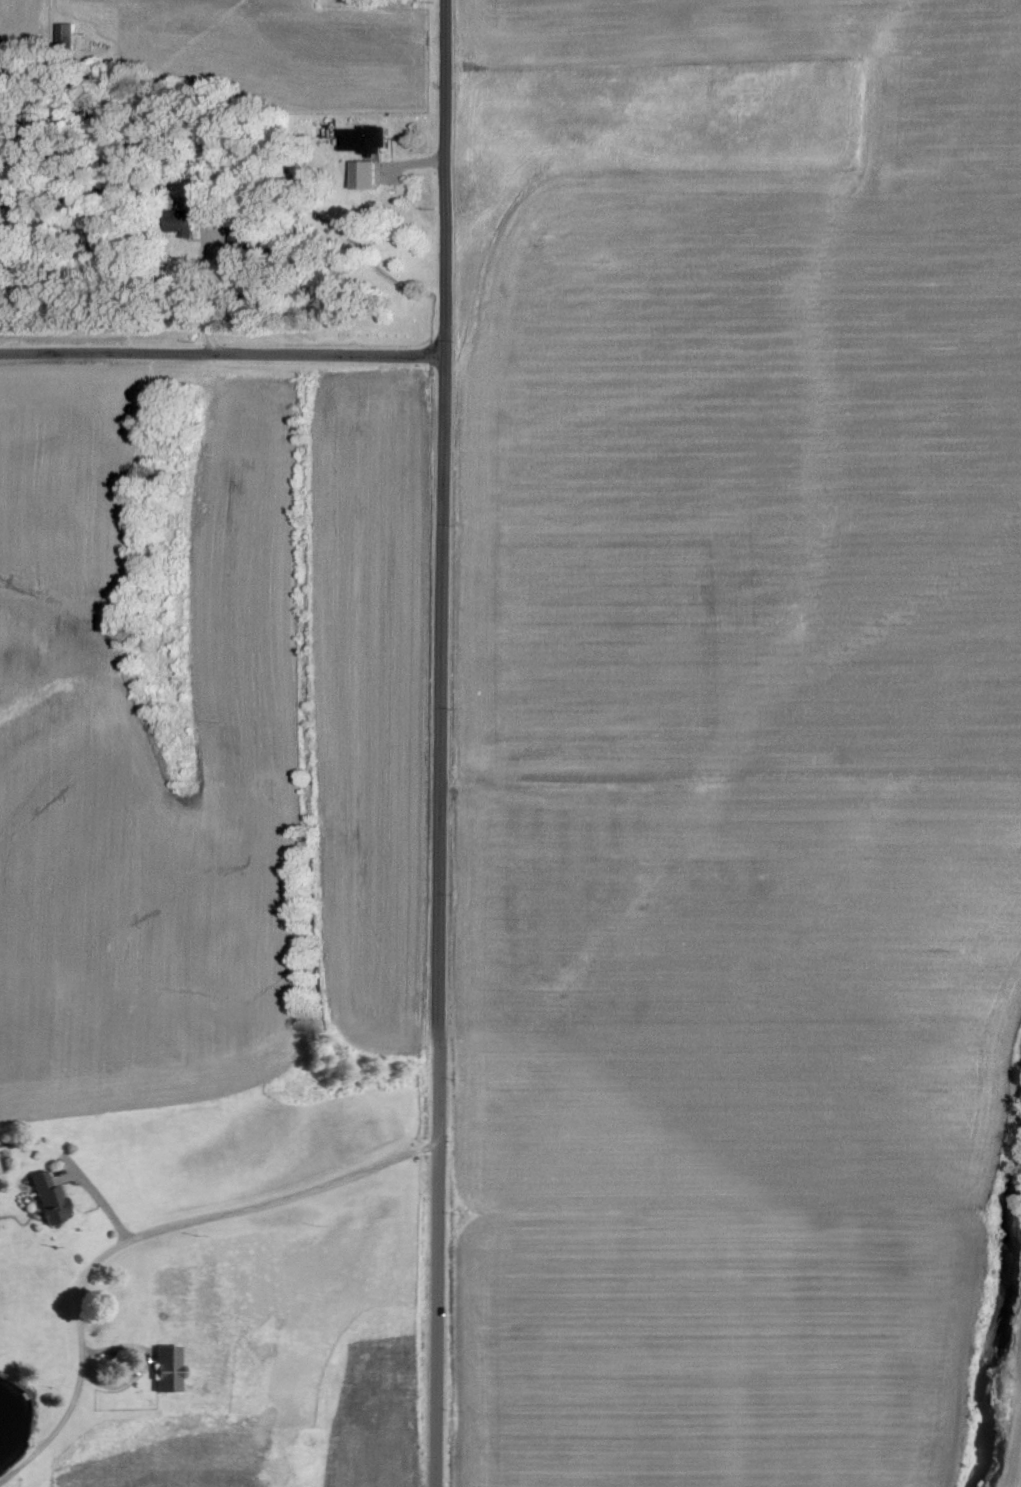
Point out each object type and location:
building: (68, 32)
building: (366, 140)
building: (367, 175)
building: (186, 223)
road: (218, 300)
road: (224, 364)
road: (446, 743)
building: (0, 1176)
road: (92, 1194)
building: (49, 1200)
road: (283, 1200)
road: (81, 1364)
building: (168, 1370)

